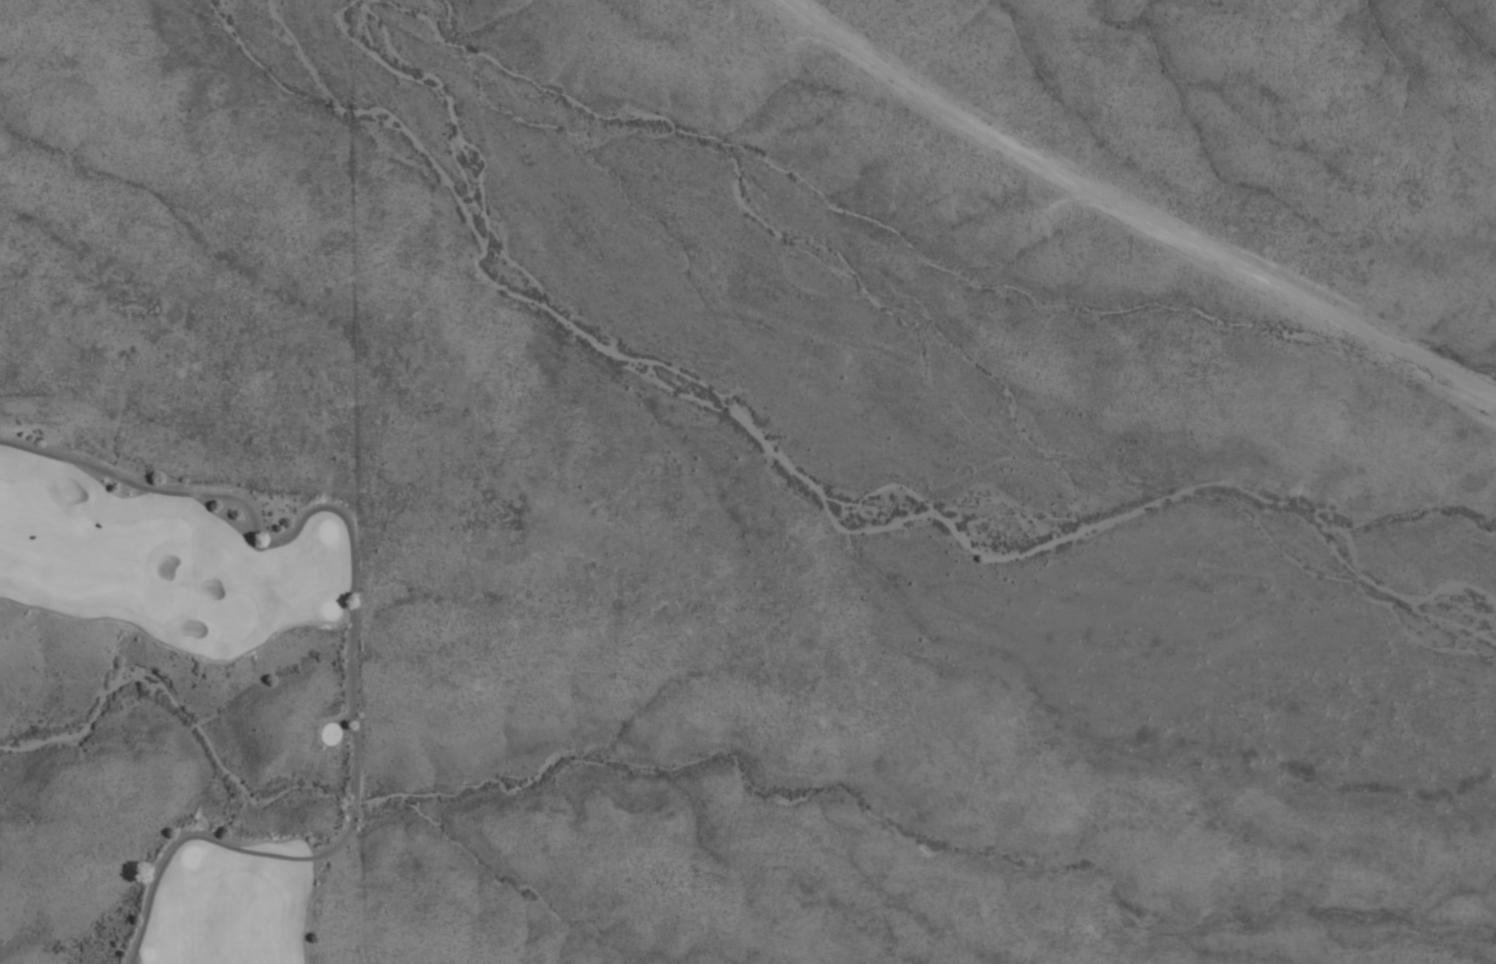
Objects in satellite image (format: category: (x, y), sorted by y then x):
road: (1135, 210)
road: (349, 633)
park: (184, 707)

